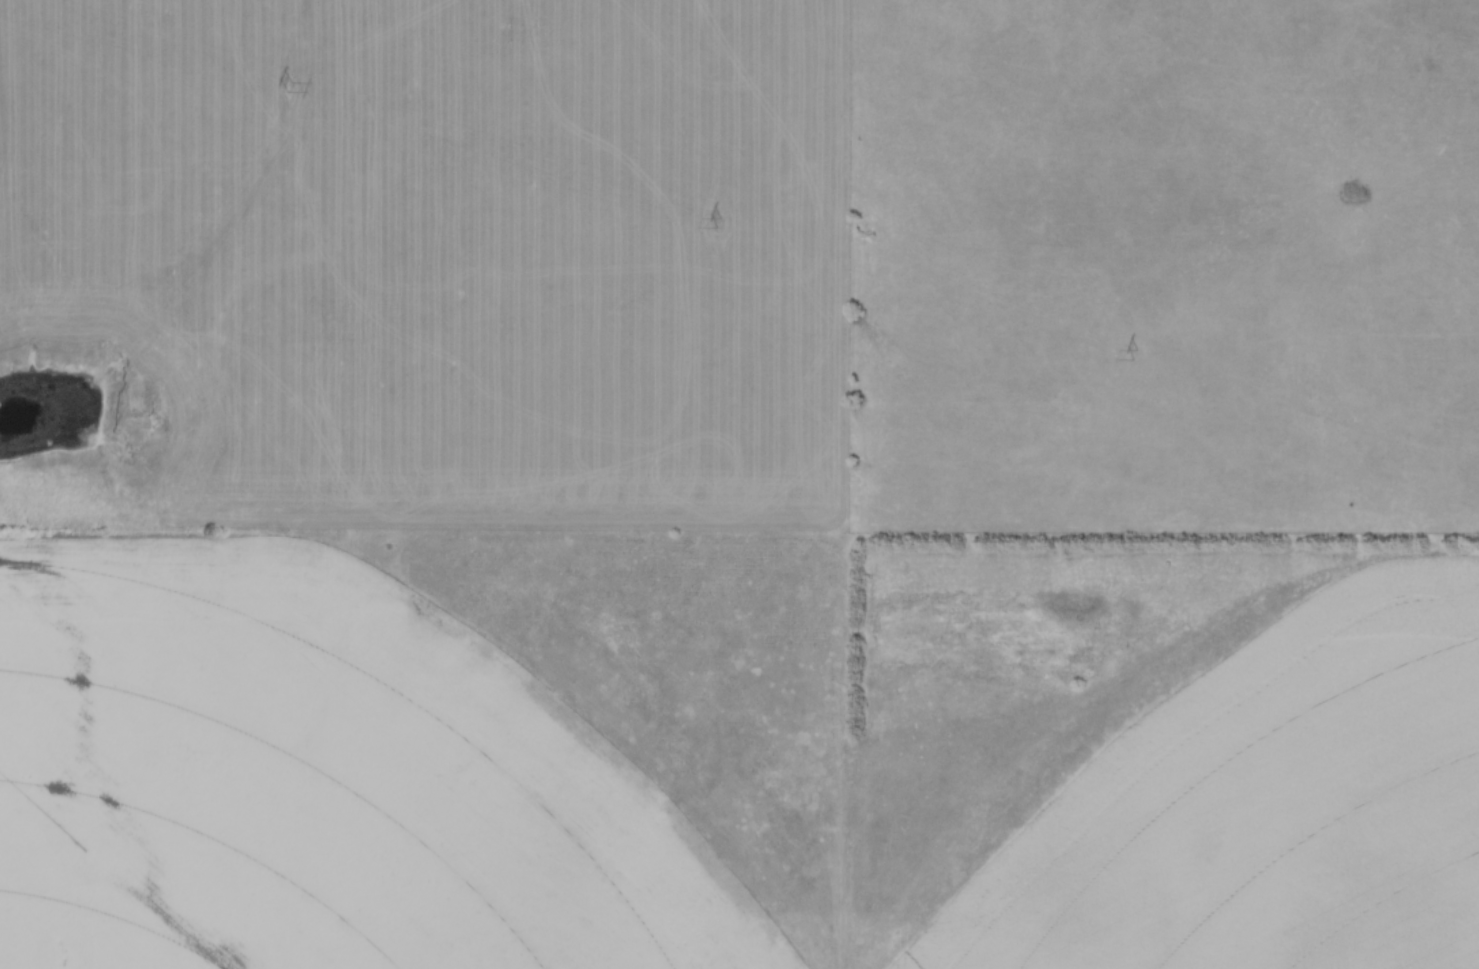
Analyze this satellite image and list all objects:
power tower: (291, 87)
power tower: (721, 222)
power tower: (1135, 353)

